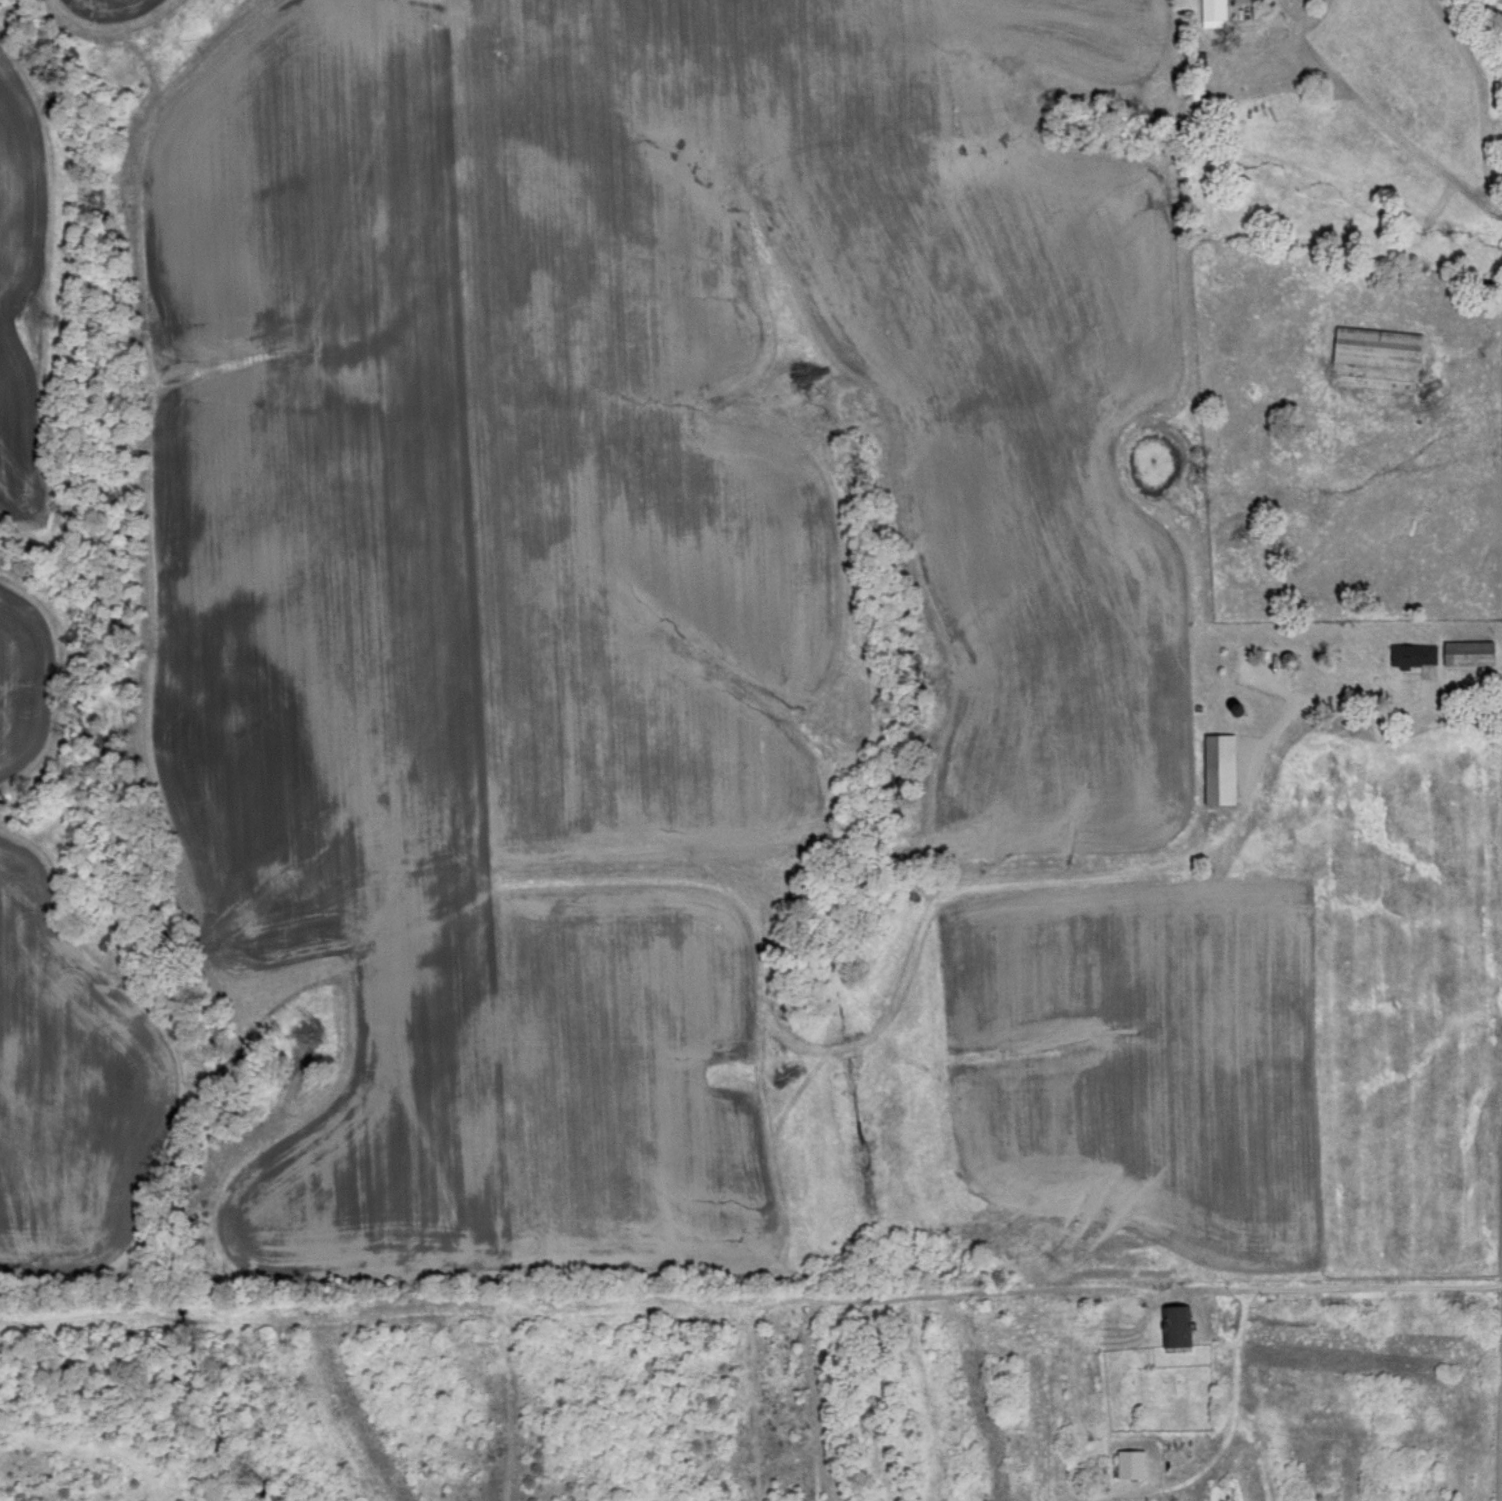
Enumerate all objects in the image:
building: (1228, 10)
building: (1379, 346)
building: (1471, 652)
building: (1415, 654)
building: (1289, 658)
road: (1370, 711)
building: (1222, 768)
road: (1339, 1286)
building: (1178, 1323)
building: (1132, 1369)
building: (1133, 1461)

